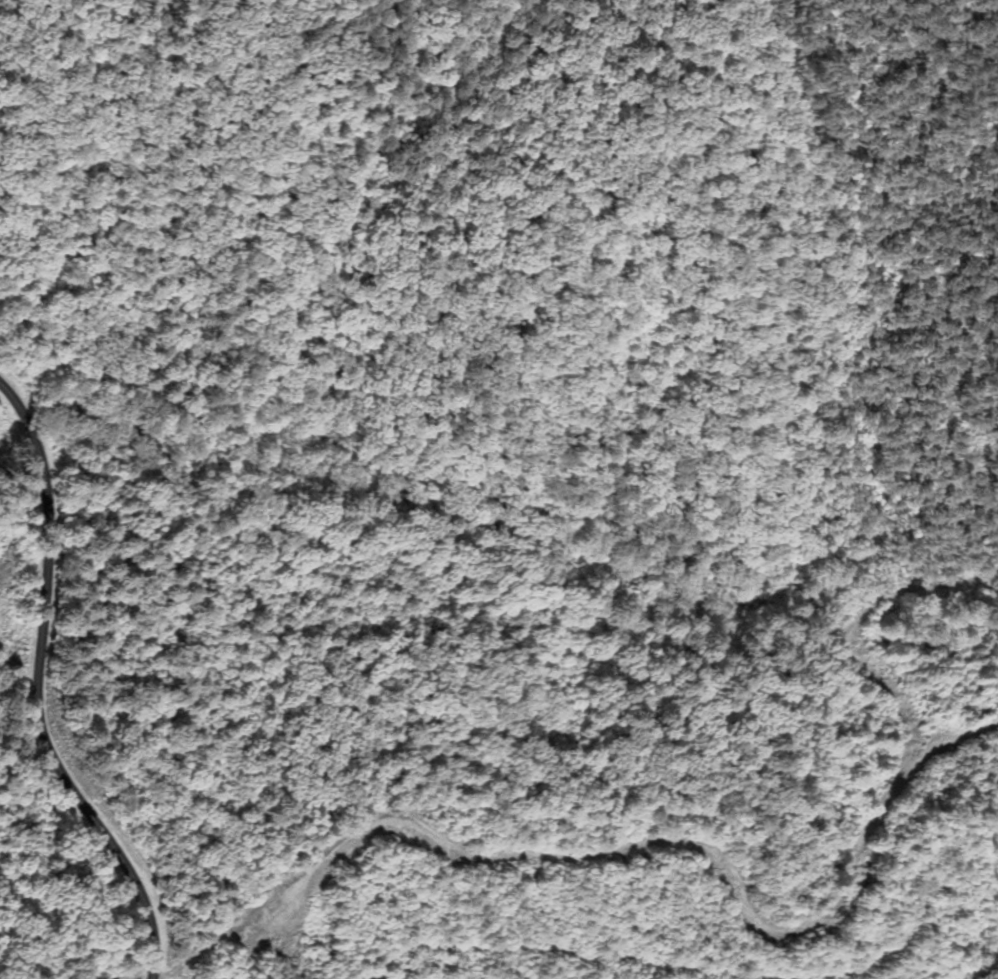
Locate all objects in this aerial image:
road: (33, 688)
road: (612, 849)

